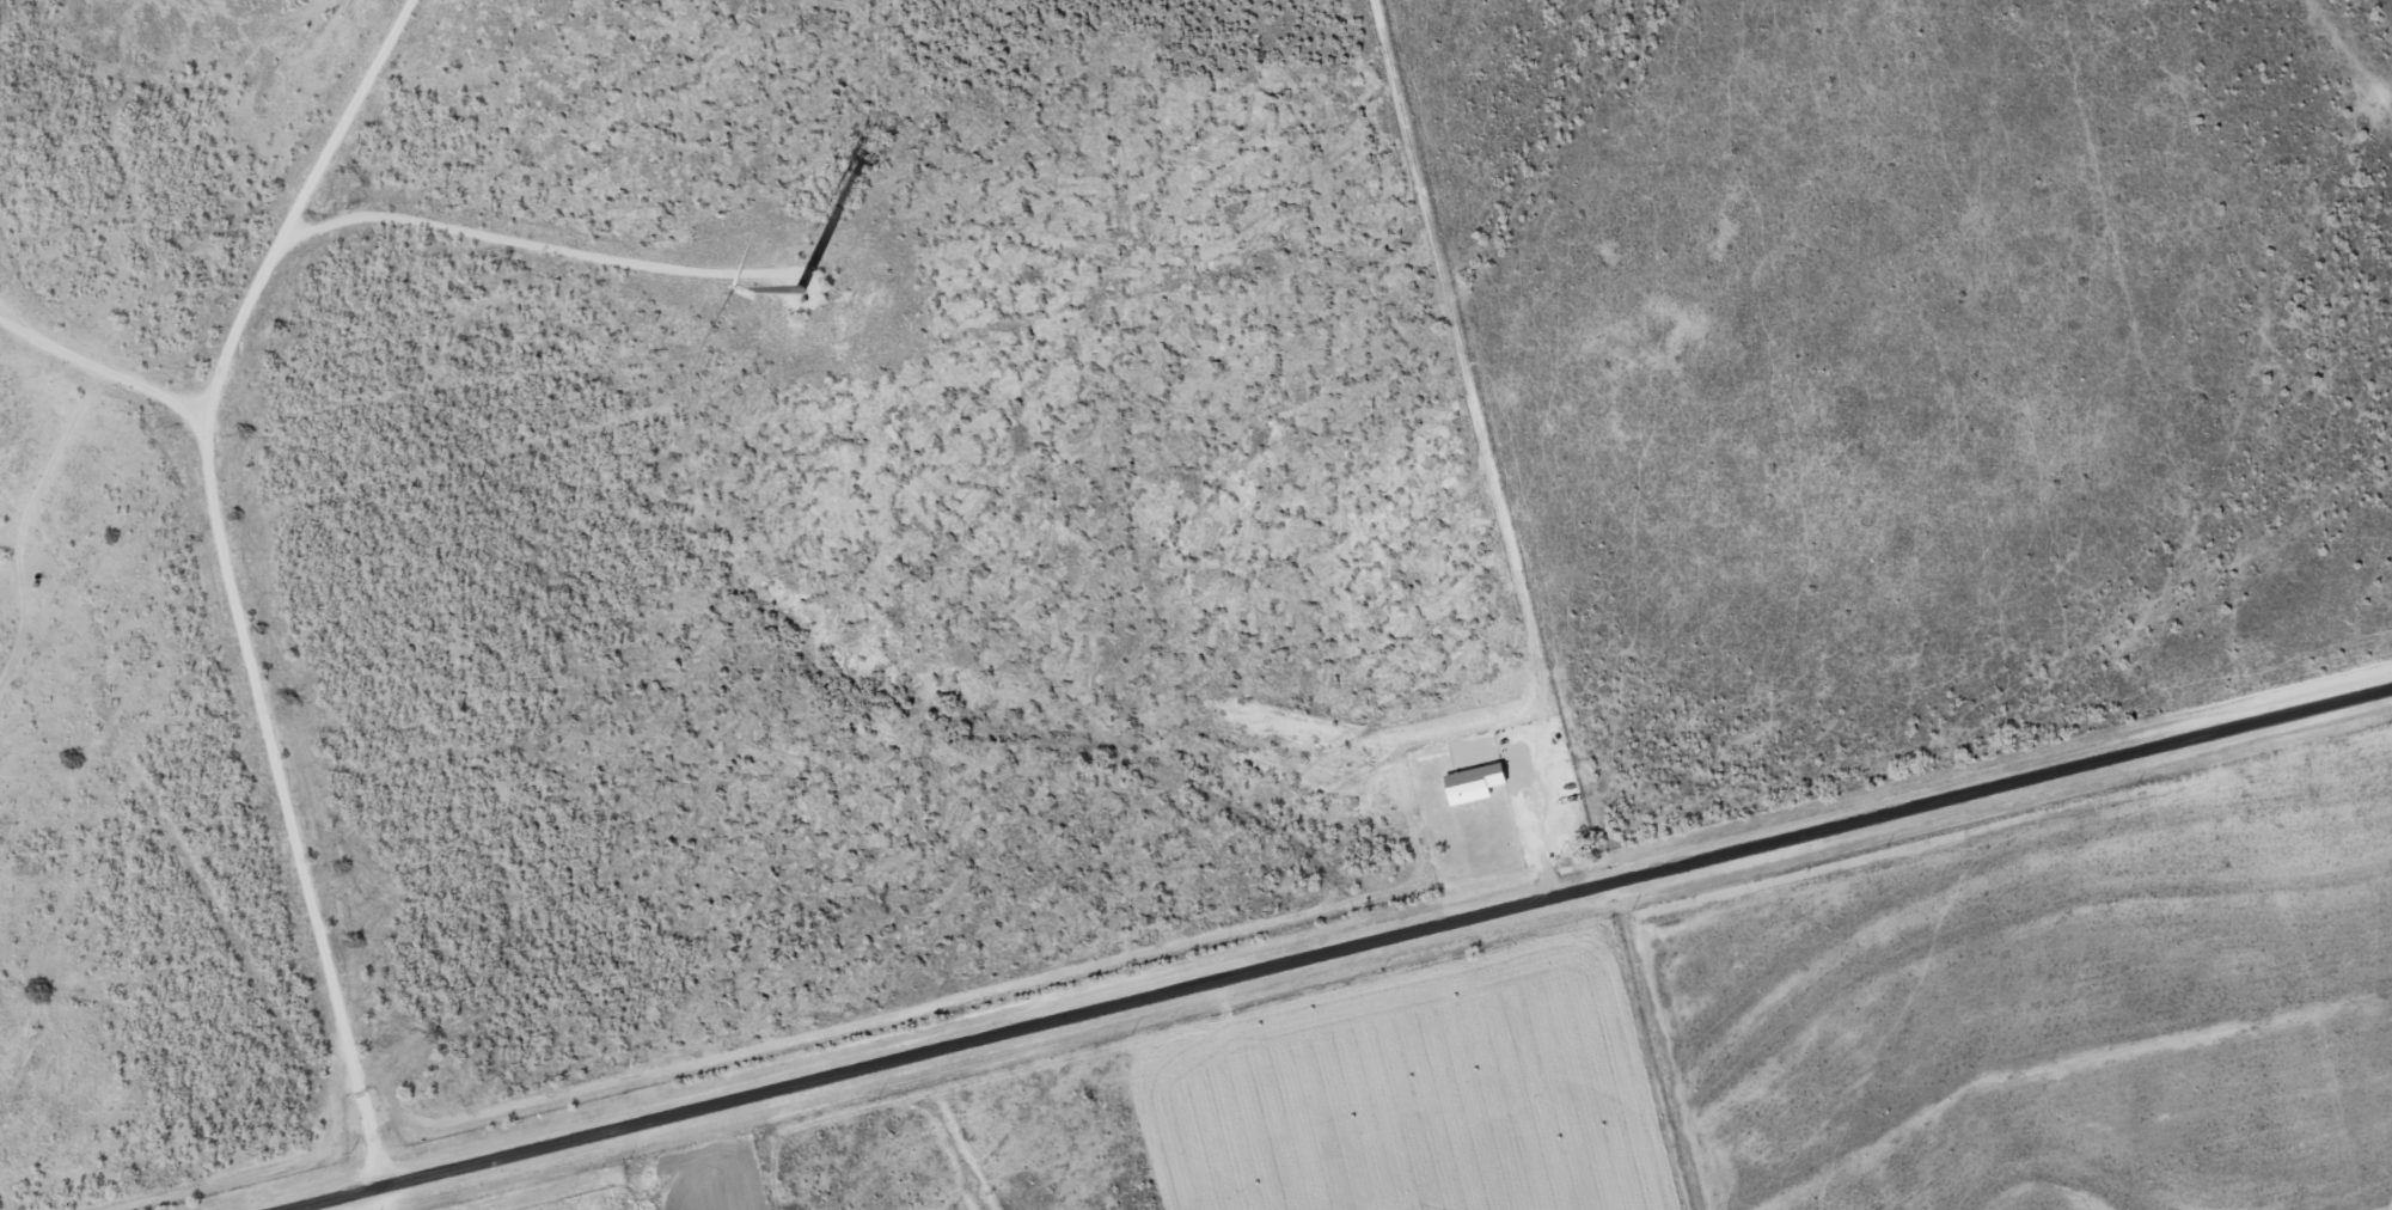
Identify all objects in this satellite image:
wind turbine: (799, 292)
building: (1474, 783)
road: (1332, 951)

